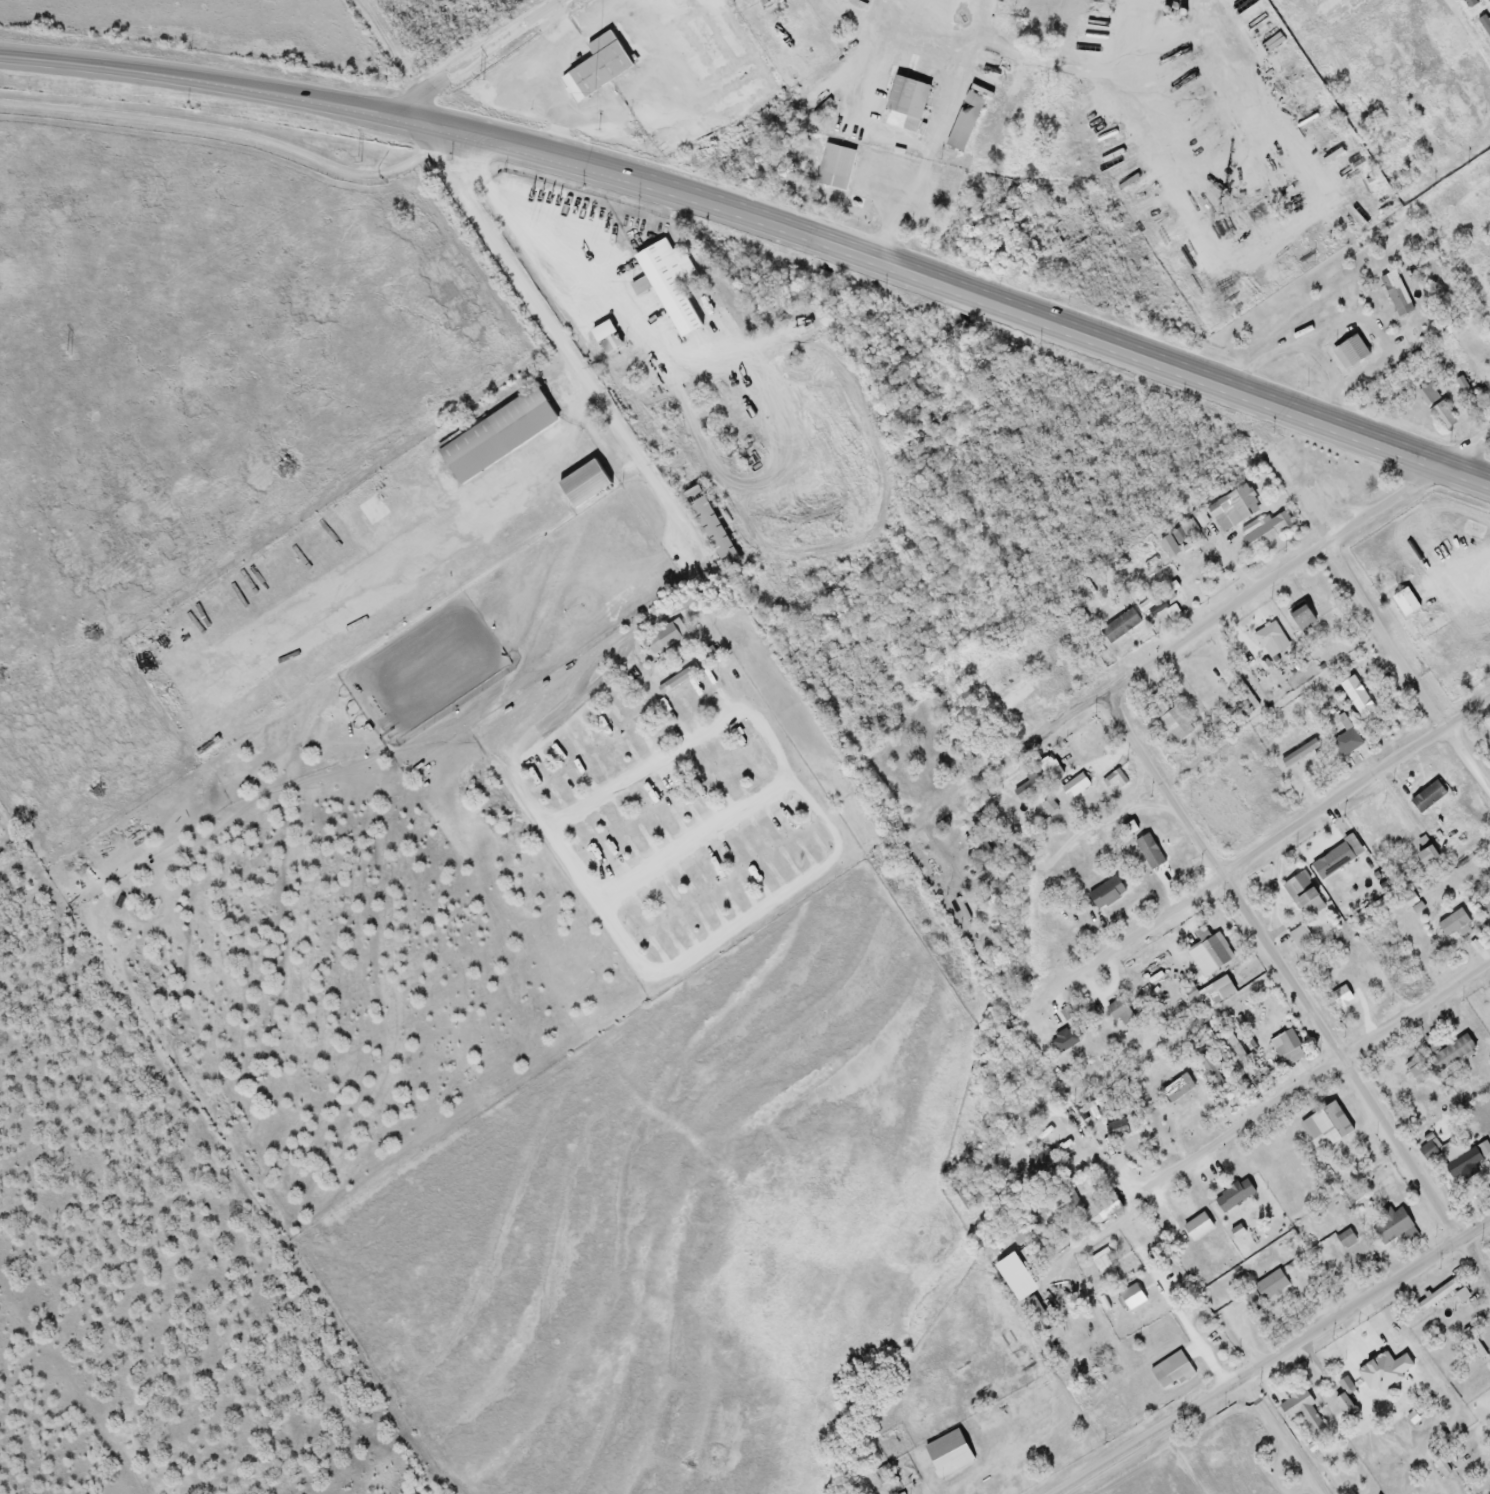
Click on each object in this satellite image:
road: (388, 49)
road: (482, 56)
building: (596, 65)
road: (1077, 69)
building: (902, 104)
road: (943, 119)
road: (223, 130)
power tower: (357, 159)
building: (833, 162)
road: (1458, 197)
road: (758, 218)
building: (667, 284)
road: (559, 348)
building: (1350, 352)
power tower: (67, 353)
building: (1426, 395)
building: (493, 436)
building: (1232, 509)
building: (707, 526)
building: (1265, 533)
road: (1278, 573)
building: (659, 641)
road: (1406, 671)
building: (1020, 692)
road: (1042, 734)
building: (1346, 744)
road: (696, 843)
road: (1235, 863)
building: (1105, 894)
building: (1301, 895)
building: (1483, 906)
building: (1452, 925)
building: (1208, 953)
road: (697, 957)
road: (1300, 982)
building: (1214, 993)
building: (1338, 997)
building: (1285, 1049)
building: (1443, 1056)
road: (1303, 1084)
building: (1174, 1089)
building: (1475, 1116)
building: (1323, 1126)
building: (1039, 1163)
building: (1102, 1265)
building: (1436, 1295)
road: (1168, 1296)
building: (1250, 1300)
road: (1270, 1358)
building: (1489, 1388)
building: (1341, 1403)
building: (1300, 1411)
road: (1278, 1435)
building: (945, 1454)

